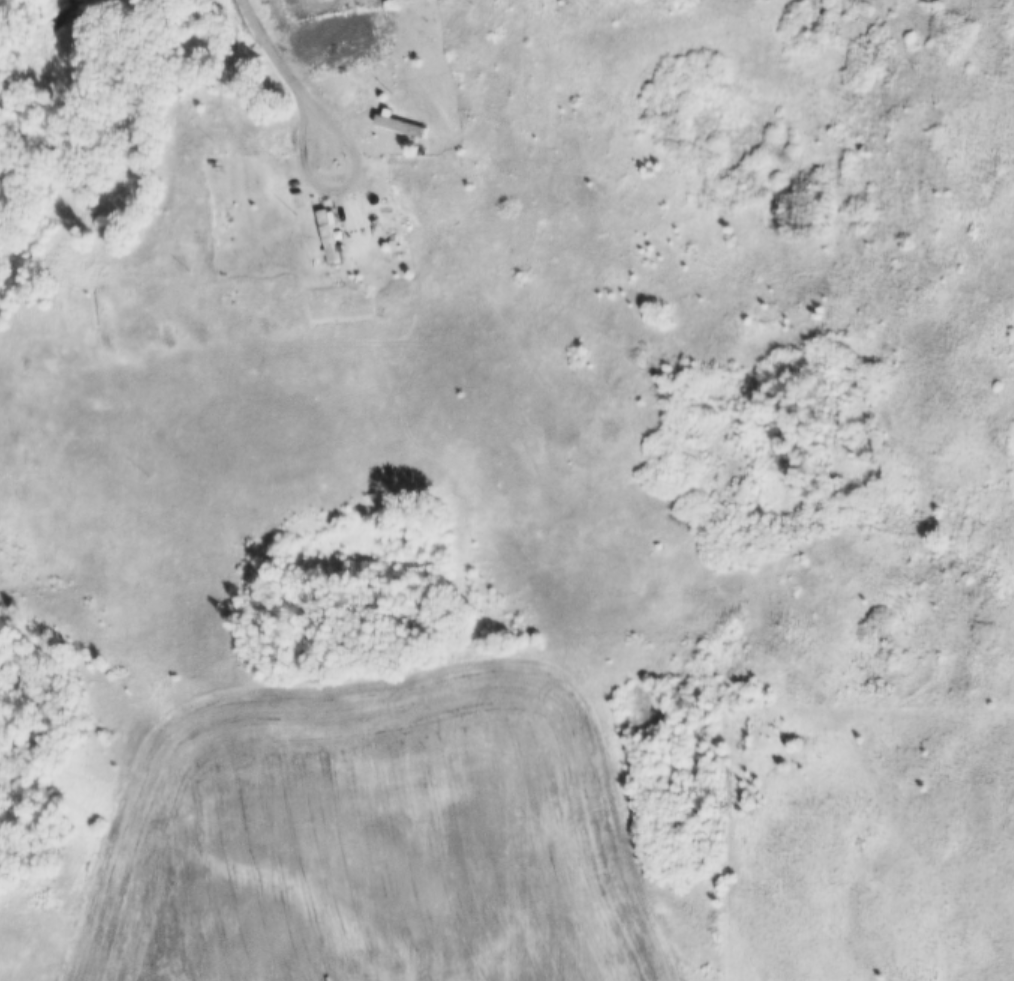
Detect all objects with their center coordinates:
road: (314, 117)

